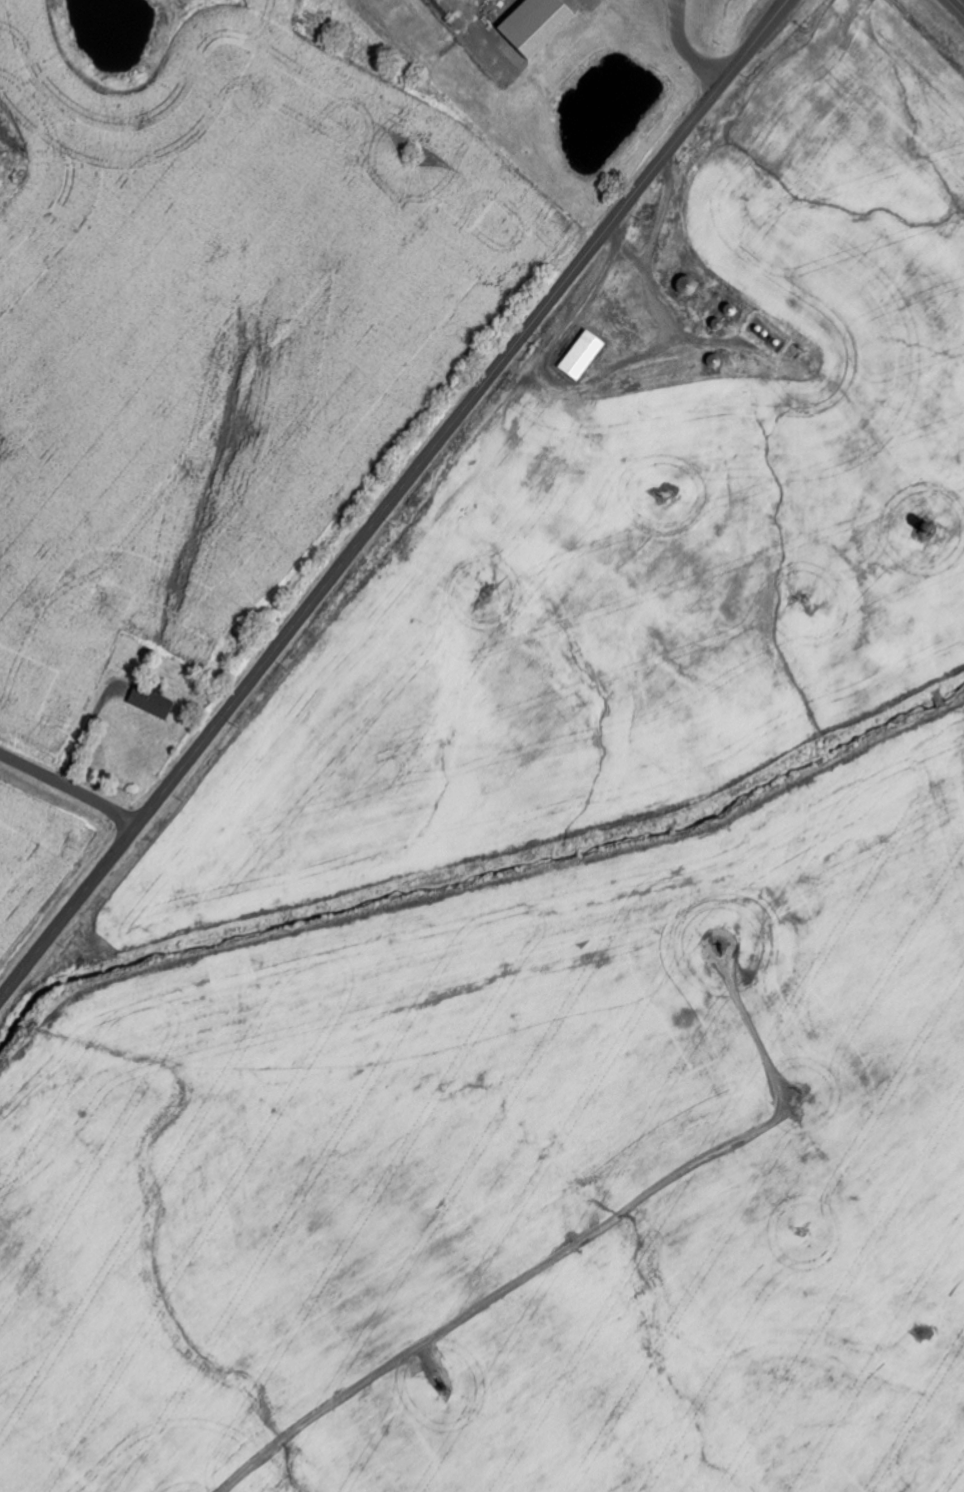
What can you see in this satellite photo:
building: (541, 23)
building: (585, 355)
road: (393, 499)
building: (154, 702)
road: (68, 789)

